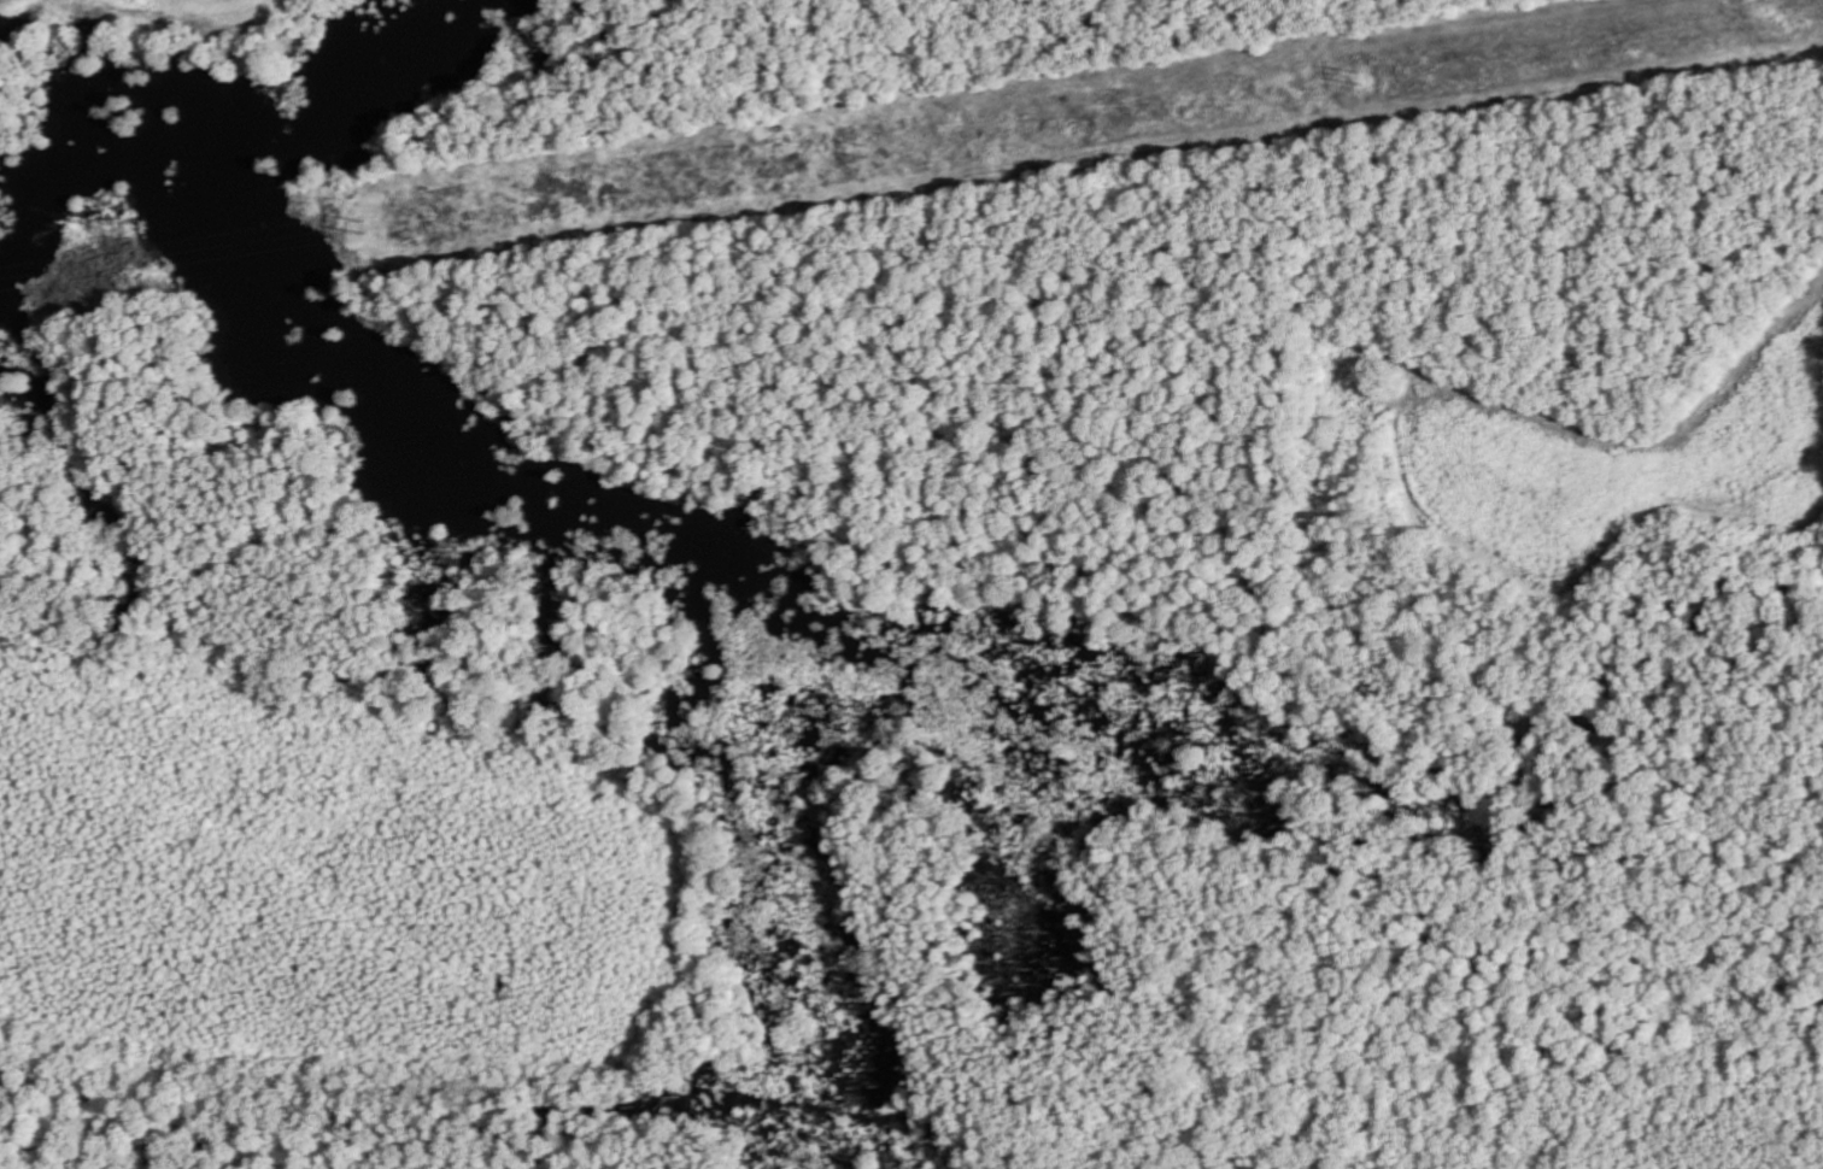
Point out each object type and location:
power tower: (1362, 80)
power tower: (872, 151)

